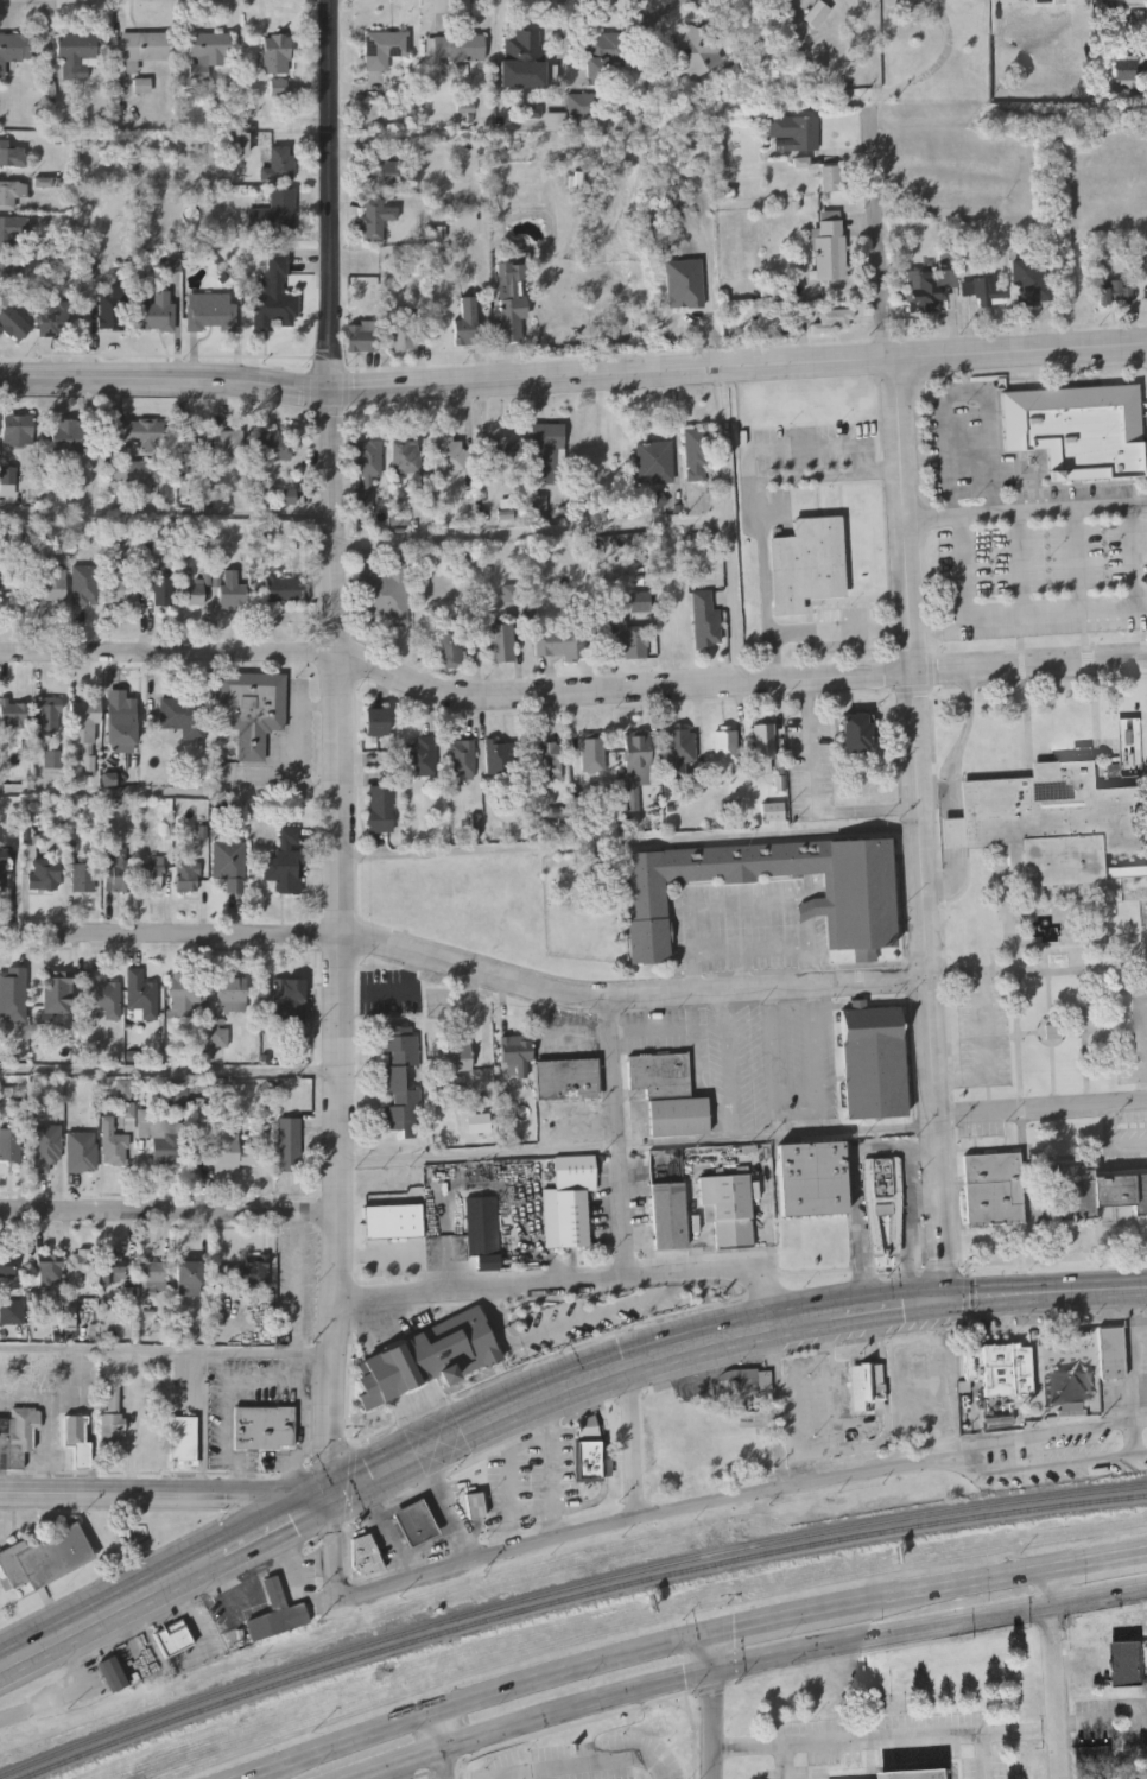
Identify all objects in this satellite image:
building: (1126, 0)
building: (1045, 1)
building: (817, 13)
building: (458, 46)
building: (13, 48)
building: (141, 48)
building: (384, 48)
building: (207, 52)
building: (697, 52)
building: (77, 53)
building: (275, 53)
building: (606, 55)
building: (525, 56)
building: (1127, 65)
building: (141, 86)
building: (279, 87)
building: (578, 103)
building: (796, 131)
building: (12, 153)
building: (281, 163)
building: (384, 167)
building: (830, 177)
building: (11, 192)
building: (274, 211)
building: (375, 217)
building: (13, 230)
road: (879, 238)
building: (829, 246)
building: (8, 267)
building: (1033, 281)
building: (929, 289)
building: (986, 290)
building: (1115, 293)
building: (274, 296)
building: (509, 302)
building: (113, 306)
building: (210, 310)
building: (157, 311)
building: (53, 316)
building: (835, 319)
building: (13, 321)
building: (465, 322)
building: (403, 333)
building: (361, 336)
road: (572, 375)
road: (968, 390)
building: (18, 429)
building: (1078, 431)
building: (137, 432)
building: (68, 433)
building: (192, 441)
building: (230, 443)
building: (273, 444)
road: (797, 447)
building: (500, 450)
building: (449, 452)
building: (546, 454)
building: (696, 455)
building: (405, 456)
building: (367, 458)
building: (654, 462)
road: (332, 468)
road: (761, 499)
building: (538, 512)
road: (1022, 513)
road: (166, 514)
road: (608, 527)
parking lot: (1027, 536)
road: (1078, 562)
building: (806, 563)
road: (1021, 565)
building: (49, 585)
building: (85, 585)
building: (233, 589)
building: (122, 590)
building: (283, 590)
building: (161, 591)
building: (195, 594)
building: (384, 595)
road: (1051, 615)
building: (704, 619)
road: (818, 631)
building: (625, 637)
building: (454, 642)
building: (560, 642)
building: (500, 644)
road: (1085, 656)
road: (1022, 661)
road: (570, 698)
building: (251, 709)
building: (47, 715)
building: (14, 717)
building: (121, 717)
building: (183, 717)
building: (375, 722)
building: (84, 730)
building: (857, 733)
building: (765, 747)
building: (725, 748)
building: (678, 752)
building: (592, 756)
building: (420, 759)
building: (544, 759)
building: (462, 760)
building: (500, 760)
building: (638, 761)
road: (945, 789)
road: (172, 794)
road: (816, 799)
building: (380, 810)
building: (1050, 821)
road: (917, 829)
road: (958, 843)
road: (630, 844)
building: (286, 862)
building: (229, 865)
building: (2, 869)
building: (44, 874)
building: (118, 874)
building: (188, 874)
building: (83, 878)
building: (151, 878)
building: (853, 899)
fountain: (1047, 928)
road: (171, 936)
road: (1043, 945)
road: (754, 949)
road: (1043, 958)
road: (1048, 968)
park: (1054, 976)
building: (2, 988)
road: (406, 988)
building: (57, 992)
building: (104, 994)
building: (141, 994)
building: (183, 994)
building: (230, 994)
road: (1050, 994)
building: (289, 1001)
road: (629, 1001)
road: (1084, 1020)
road: (1063, 1028)
road: (1090, 1028)
road: (1028, 1032)
parking lot: (1132, 1037)
parking lot: (984, 1043)
road: (1141, 1047)
building: (456, 1056)
building: (515, 1056)
building: (873, 1064)
road: (984, 1066)
road: (1054, 1070)
road: (171, 1072)
building: (399, 1080)
building: (566, 1080)
building: (668, 1094)
road: (1040, 1110)
building: (163, 1135)
road: (615, 1140)
road: (1111, 1140)
building: (289, 1142)
building: (9, 1144)
building: (115, 1145)
building: (46, 1146)
road: (638, 1146)
parking lot: (1126, 1148)
building: (82, 1150)
building: (226, 1154)
building: (477, 1176)
building: (811, 1179)
building: (994, 1189)
road: (854, 1191)
building: (1096, 1192)
building: (572, 1199)
building: (883, 1201)
building: (729, 1209)
road: (170, 1210)
building: (668, 1215)
road: (341, 1217)
building: (392, 1222)
building: (482, 1230)
road: (398, 1256)
building: (81, 1264)
road: (999, 1265)
building: (7, 1266)
building: (49, 1271)
road: (721, 1272)
building: (249, 1274)
building: (113, 1275)
building: (150, 1278)
building: (188, 1279)
road: (482, 1289)
road: (1039, 1291)
road: (1045, 1293)
building: (670, 1300)
traffic signals: (944, 1300)
road: (891, 1305)
building: (596, 1311)
building: (11, 1312)
building: (534, 1327)
road: (169, 1351)
building: (1111, 1355)
building: (429, 1357)
road: (1133, 1357)
building: (1073, 1366)
building: (1000, 1370)
road: (577, 1378)
road: (948, 1382)
building: (737, 1384)
building: (867, 1387)
road: (229, 1397)
road: (780, 1408)
road: (303, 1413)
building: (110, 1418)
road: (50, 1423)
road: (203, 1423)
road: (135, 1424)
building: (262, 1430)
building: (151, 1433)
building: (17, 1437)
road: (1044, 1437)
building: (76, 1438)
building: (182, 1439)
road: (632, 1441)
building: (594, 1448)
road: (299, 1452)
road: (331, 1455)
parking lot: (1067, 1460)
road: (246, 1464)
road: (1043, 1467)
road: (290, 1473)
road: (353, 1486)
road: (249, 1496)
road: (167, 1498)
traffic signals: (336, 1498)
road: (408, 1501)
building: (473, 1506)
road: (445, 1508)
building: (413, 1522)
road: (280, 1525)
road: (391, 1531)
road: (584, 1534)
road: (432, 1546)
building: (363, 1553)
building: (44, 1558)
railway: (563, 1590)
railway: (576, 1598)
road: (112, 1610)
building: (277, 1615)
traffic signals: (712, 1636)
building: (175, 1639)
road: (697, 1640)
building: (1128, 1664)
road: (746, 1666)
traffic signals: (712, 1673)
road: (1050, 1673)
building: (112, 1674)
road: (71, 1695)
road: (712, 1708)
road: (882, 1740)
parking lot: (875, 1741)
road: (449, 1745)
building: (1095, 1761)
road: (587, 1765)
parking lot: (984, 1768)
building: (915, 1773)

